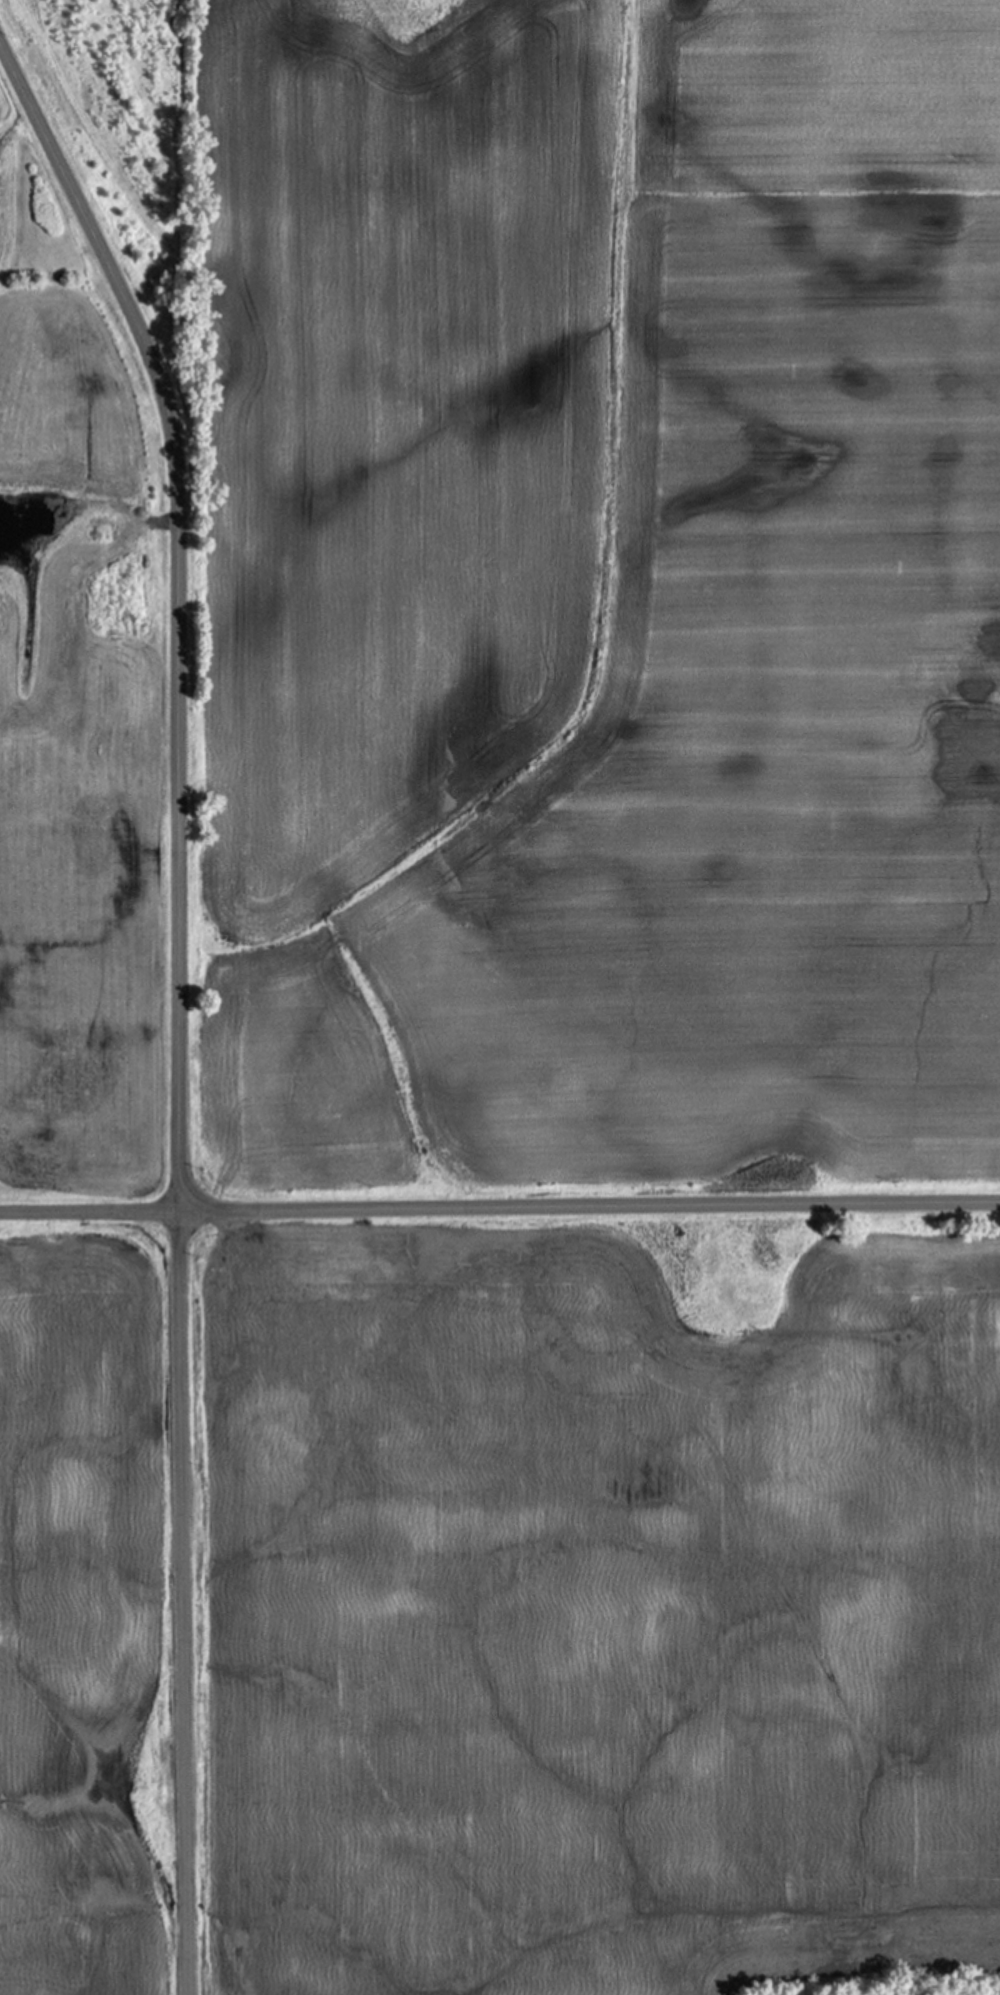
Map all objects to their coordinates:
road: (176, 619)
road: (588, 1218)
road: (88, 1221)
road: (181, 1608)

